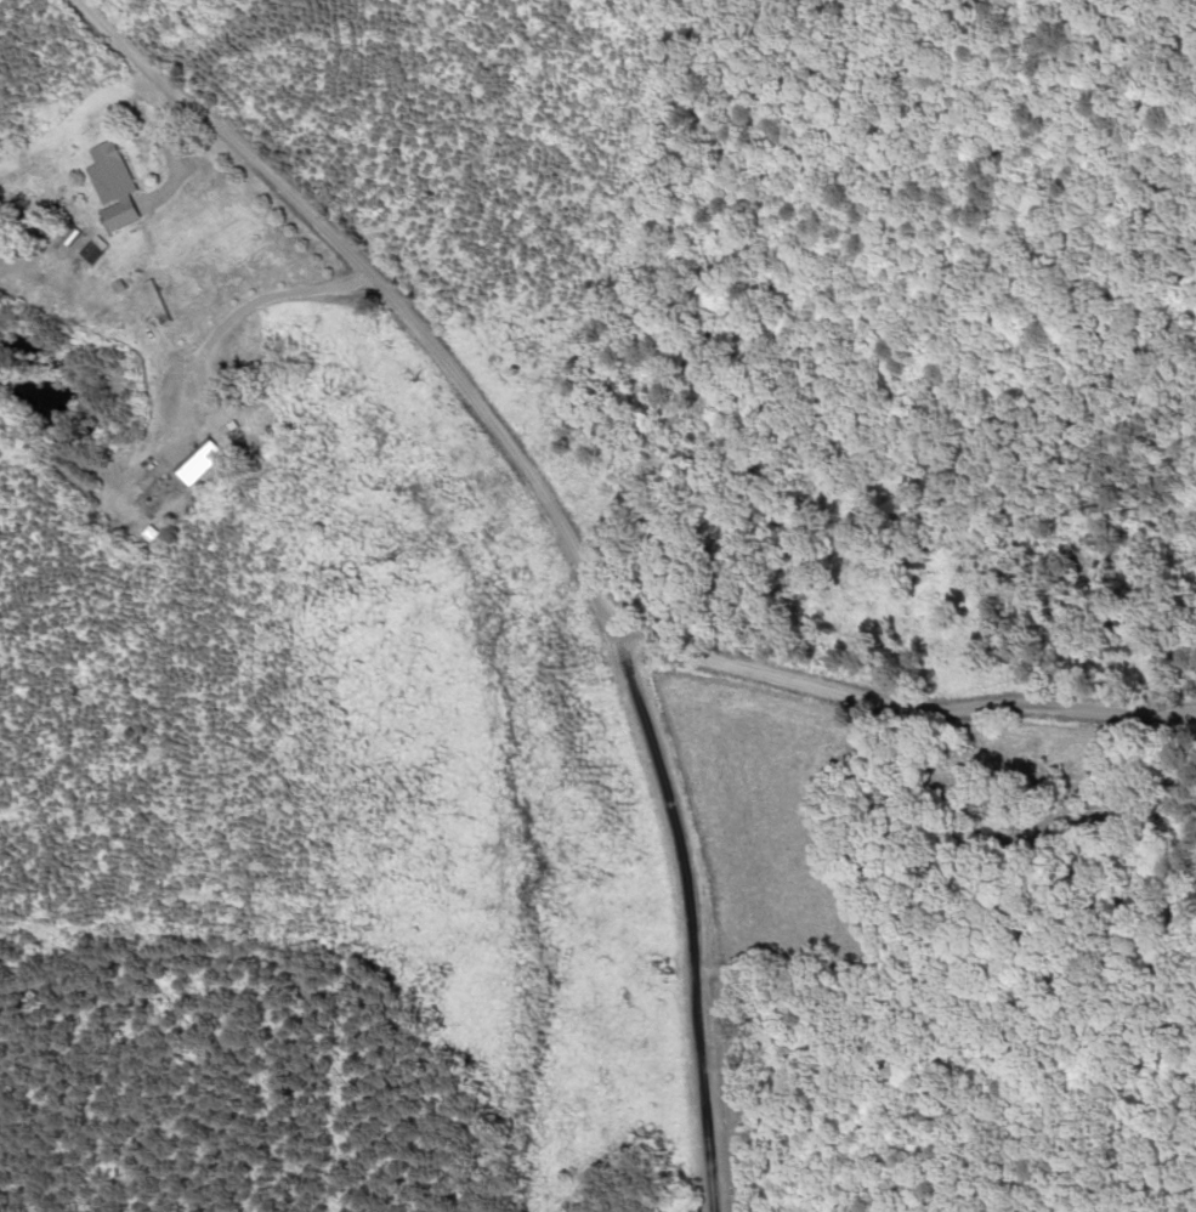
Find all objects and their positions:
building: (126, 170)
road: (387, 289)
building: (181, 293)
building: (215, 461)
road: (907, 703)
road: (679, 843)
road: (709, 1135)

